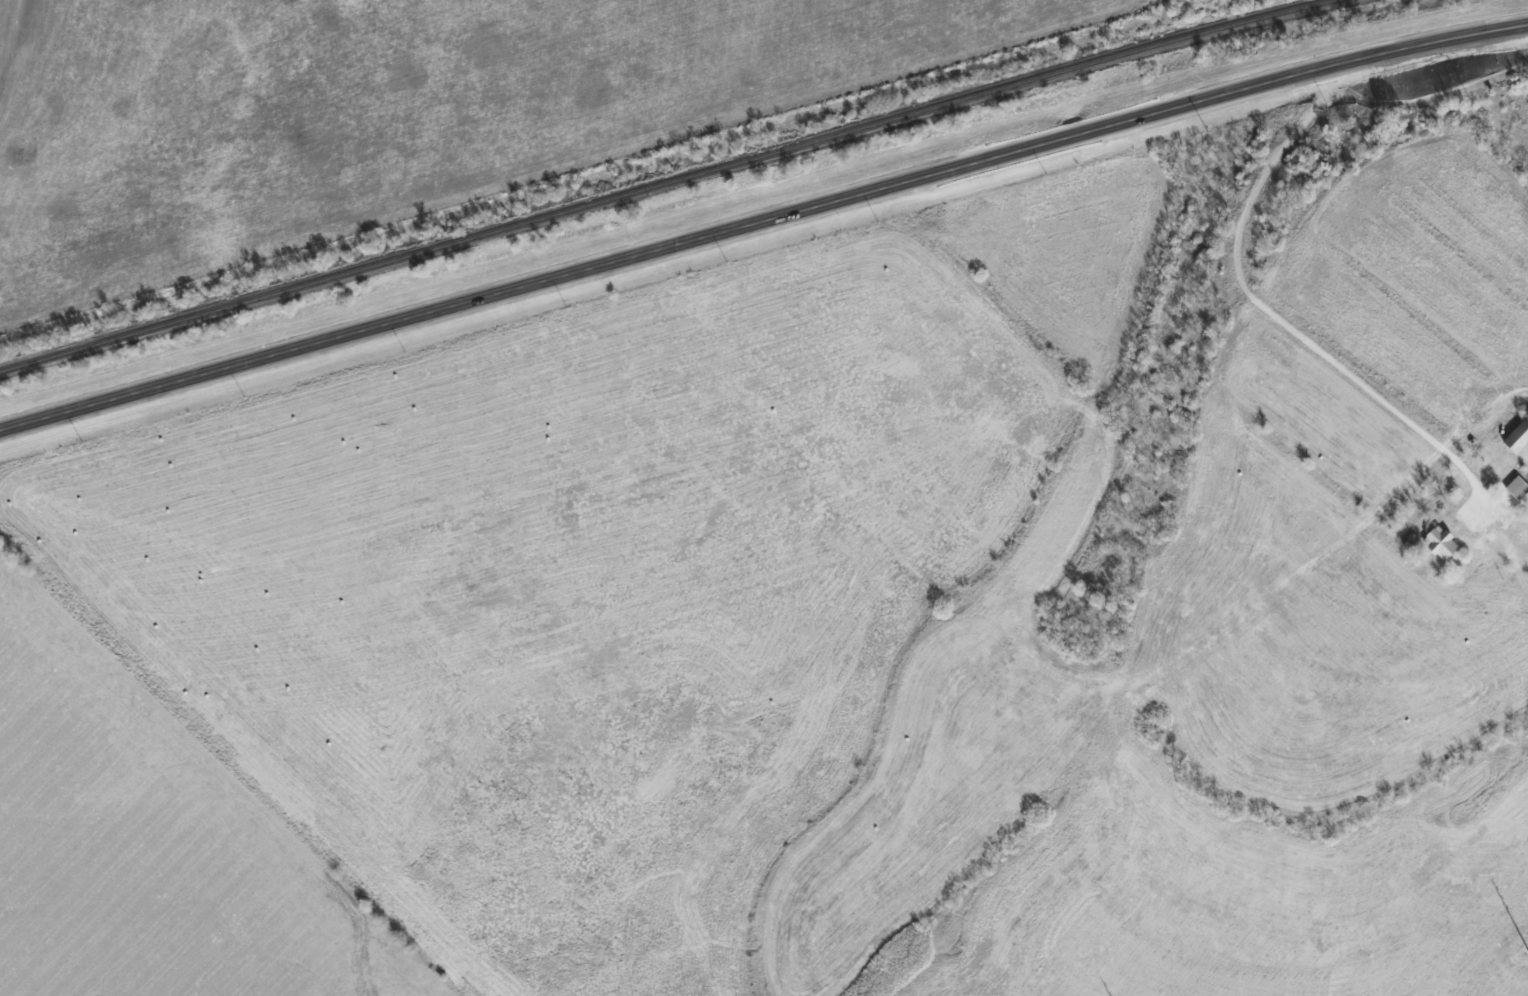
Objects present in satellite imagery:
railway: (669, 183)
road: (762, 221)
road: (1275, 320)
building: (1516, 439)
building: (1515, 490)
building: (1406, 541)
building: (1437, 546)
power tower: (1527, 948)

